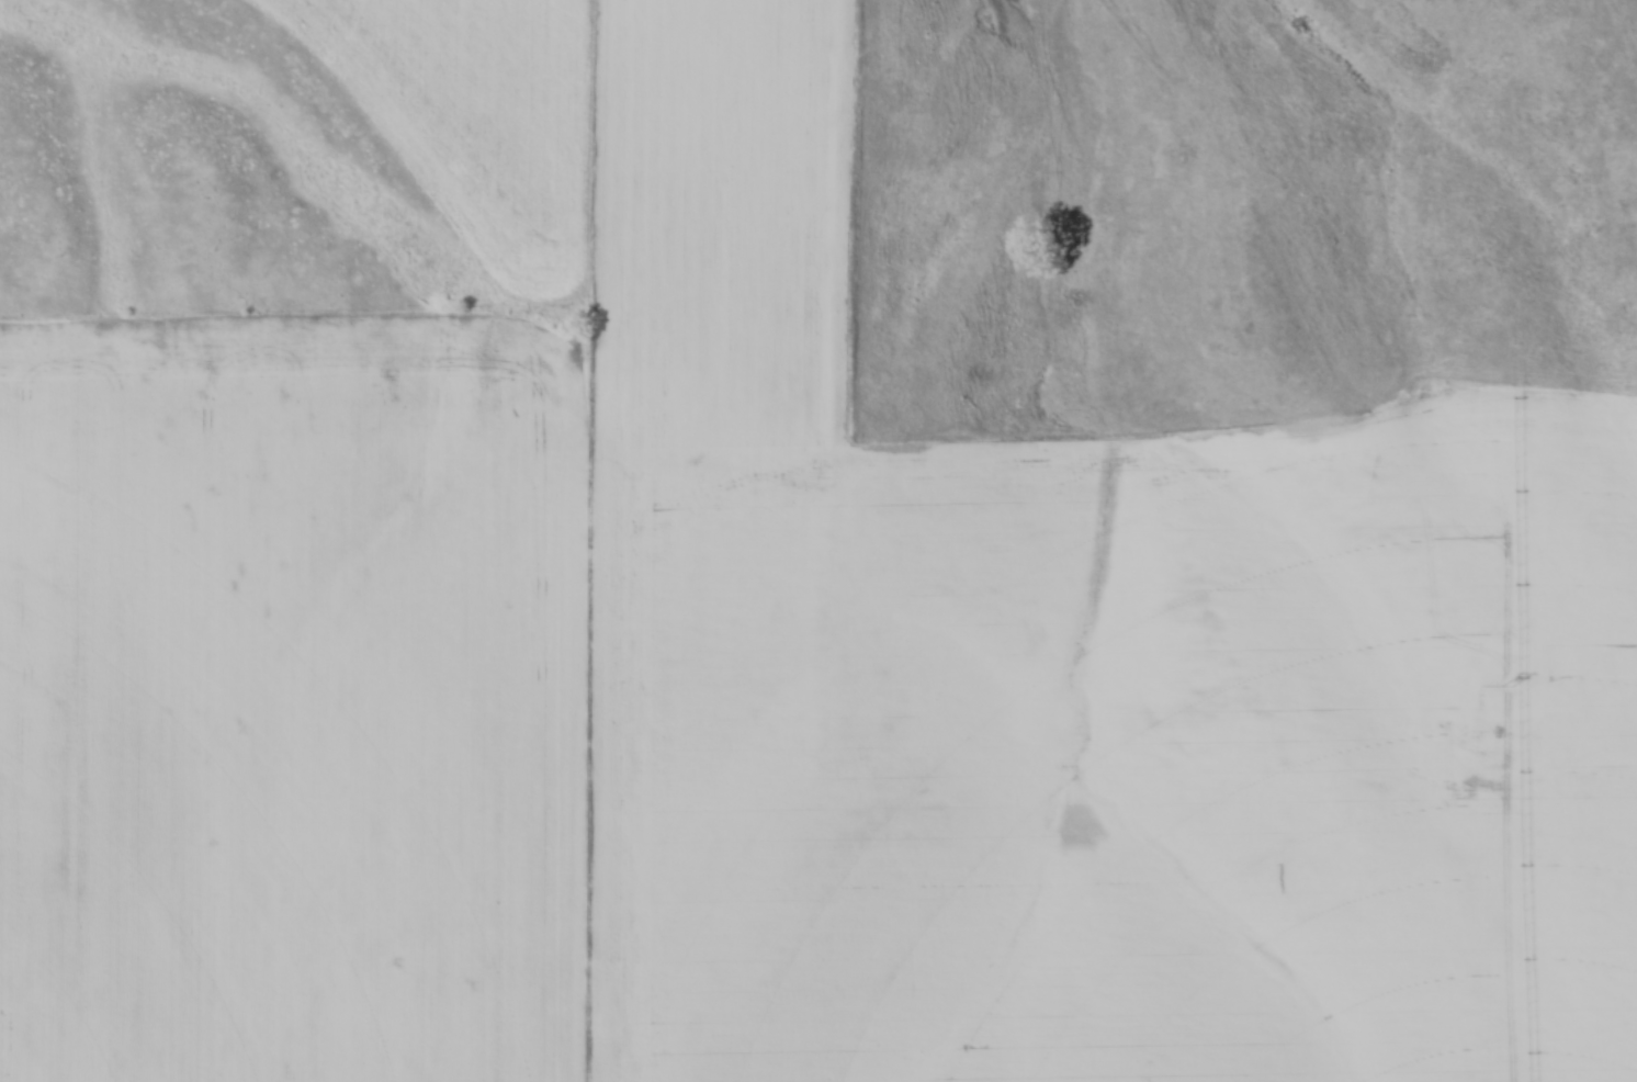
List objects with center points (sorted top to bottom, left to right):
power tower: (1508, 686)

